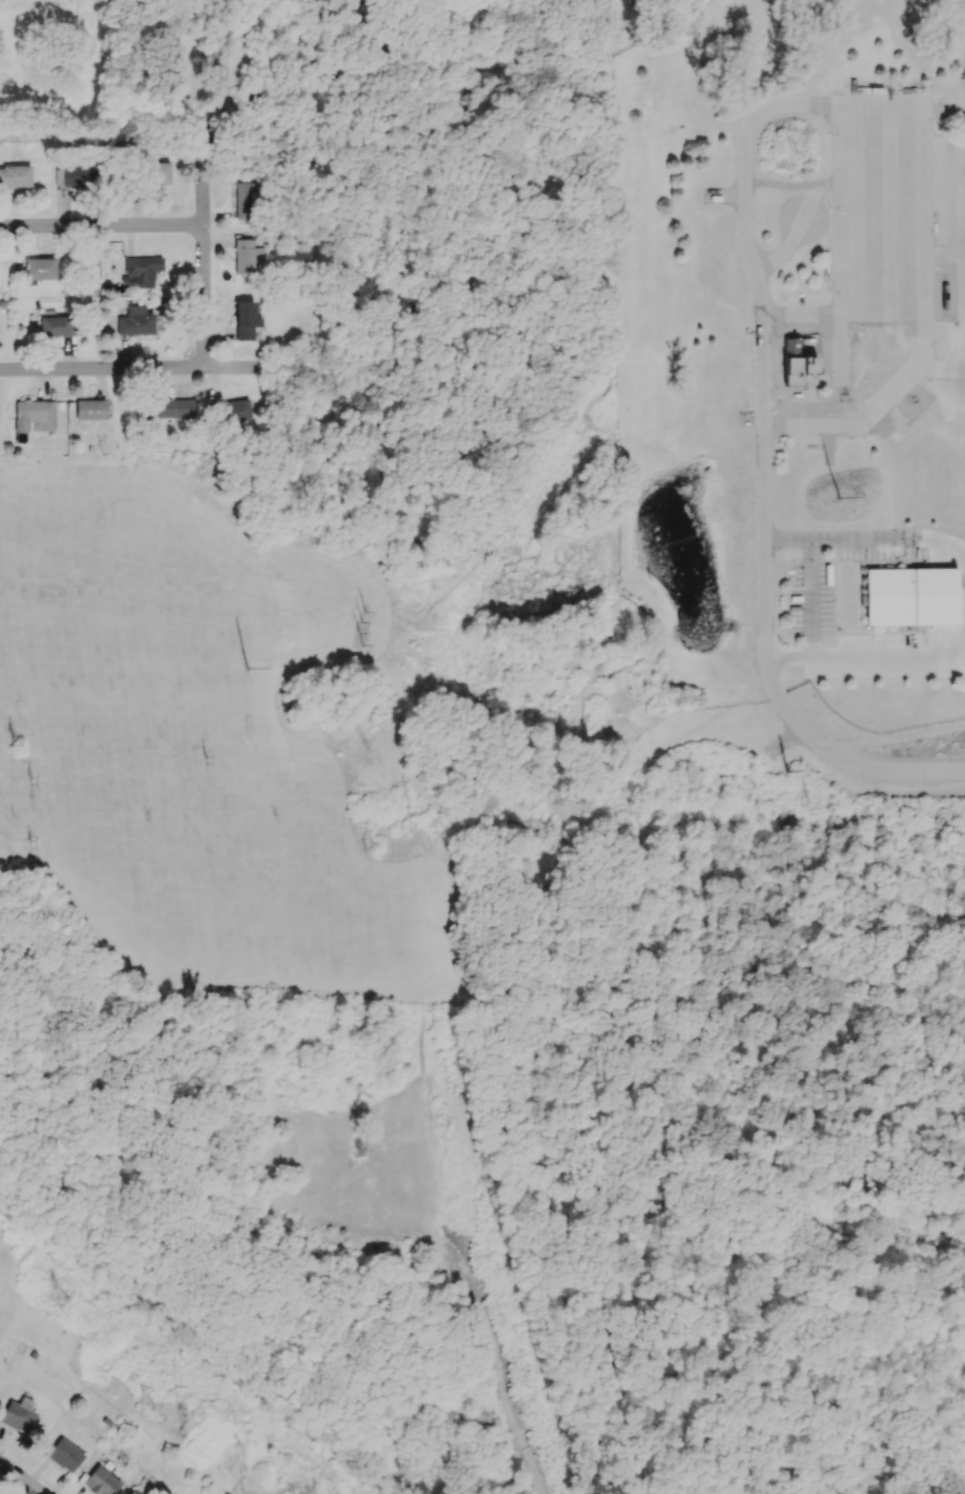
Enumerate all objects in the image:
road: (806, 104)
power tower: (795, 145)
building: (160, 173)
building: (15, 175)
building: (75, 175)
road: (204, 177)
building: (245, 201)
road: (101, 229)
road: (783, 249)
building: (246, 256)
building: (39, 268)
building: (140, 271)
building: (244, 319)
building: (135, 321)
building: (55, 326)
building: (795, 362)
road: (148, 369)
building: (173, 408)
building: (92, 409)
building: (236, 410)
building: (34, 414)
power tower: (596, 421)
power tower: (839, 498)
road: (483, 534)
road: (890, 539)
road: (484, 541)
road: (766, 559)
road: (449, 585)
building: (913, 597)
road: (809, 598)
power tower: (363, 615)
road: (887, 654)
power tower: (246, 669)
power tower: (369, 736)
power tower: (24, 739)
road: (857, 766)
power tower: (786, 775)
power tower: (35, 780)
power tower: (411, 806)
power tower: (809, 806)
road: (897, 812)
power tower: (36, 844)
power tower: (374, 850)
road: (901, 863)
road: (822, 931)
road: (621, 948)
power tower: (453, 1116)
road: (694, 1129)
road: (813, 1134)
road: (867, 1179)
road: (792, 1247)
power tower: (66, 1301)
road: (869, 1306)
road: (856, 1406)
power tower: (533, 1412)
building: (18, 1414)
road: (884, 1420)
road: (793, 1453)
building: (64, 1454)
road: (684, 1465)
road: (533, 1469)
road: (19, 1480)
building: (101, 1481)
road: (962, 1485)
building: (133, 1492)

